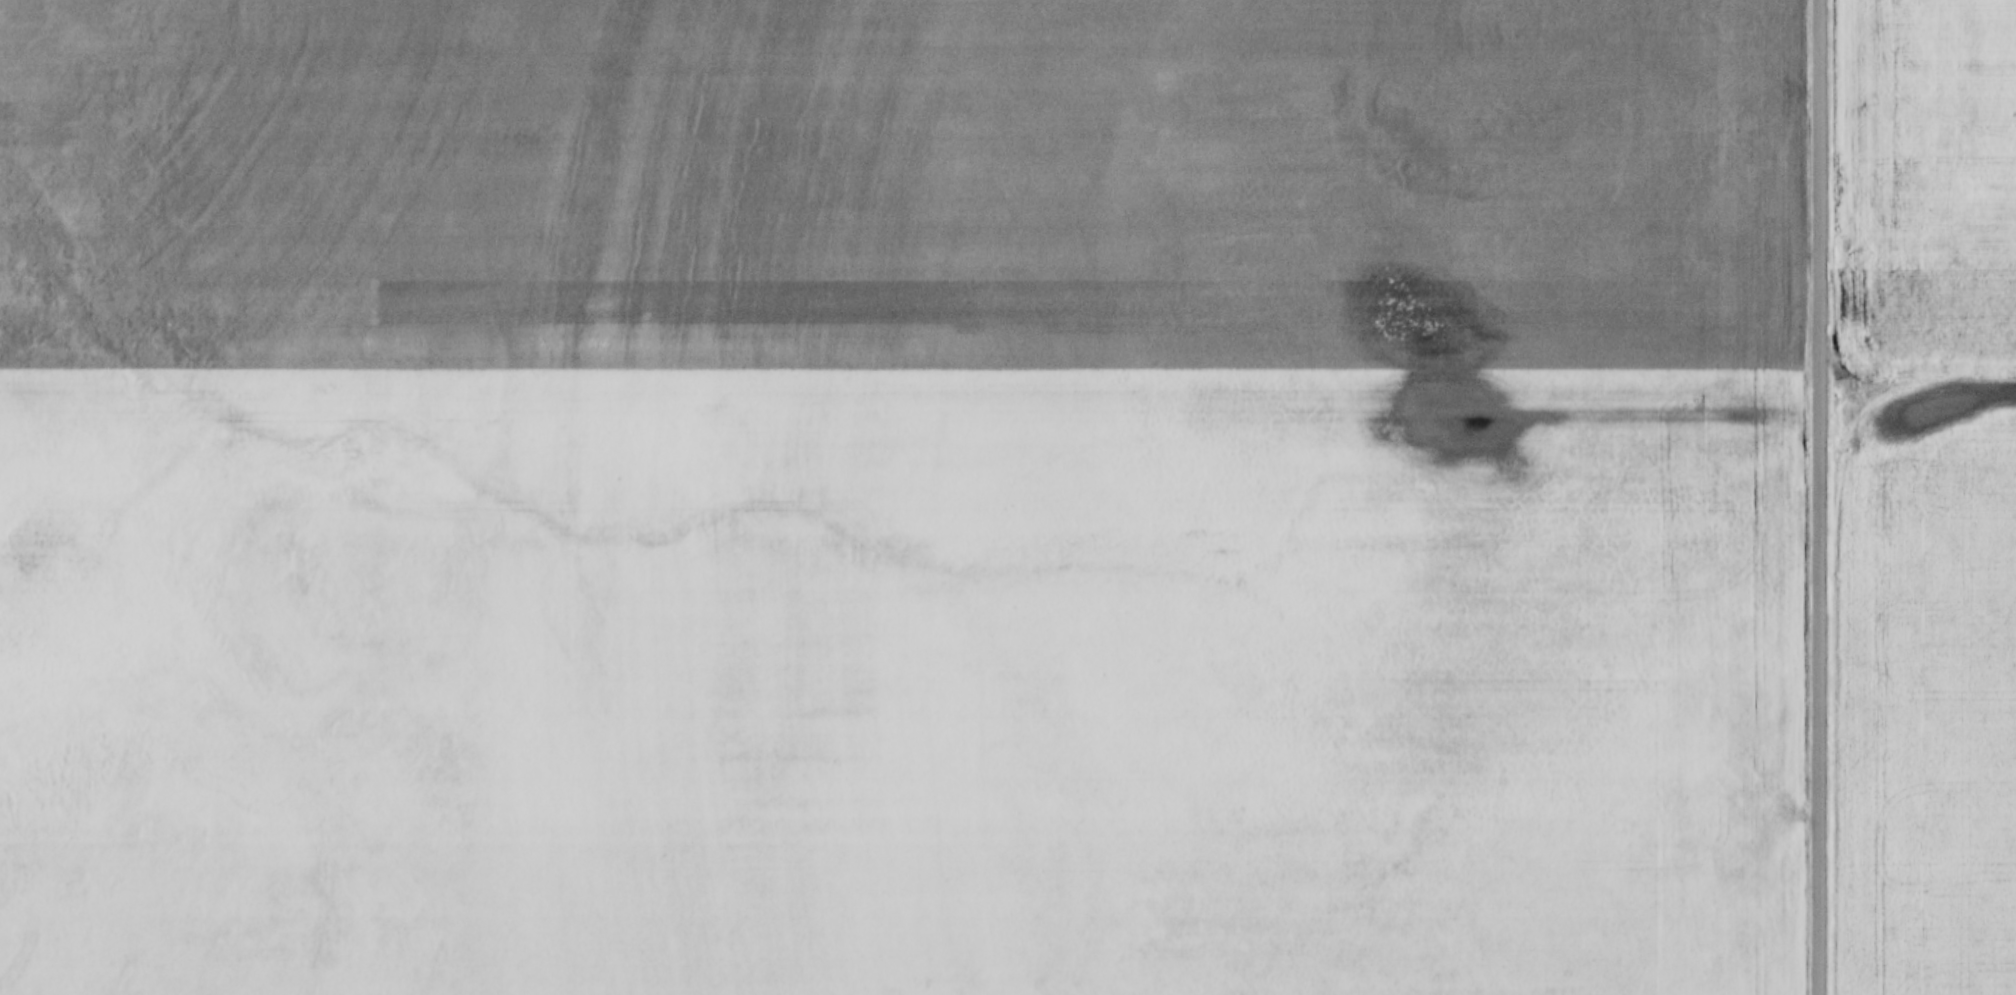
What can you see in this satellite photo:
road: (1818, 497)

